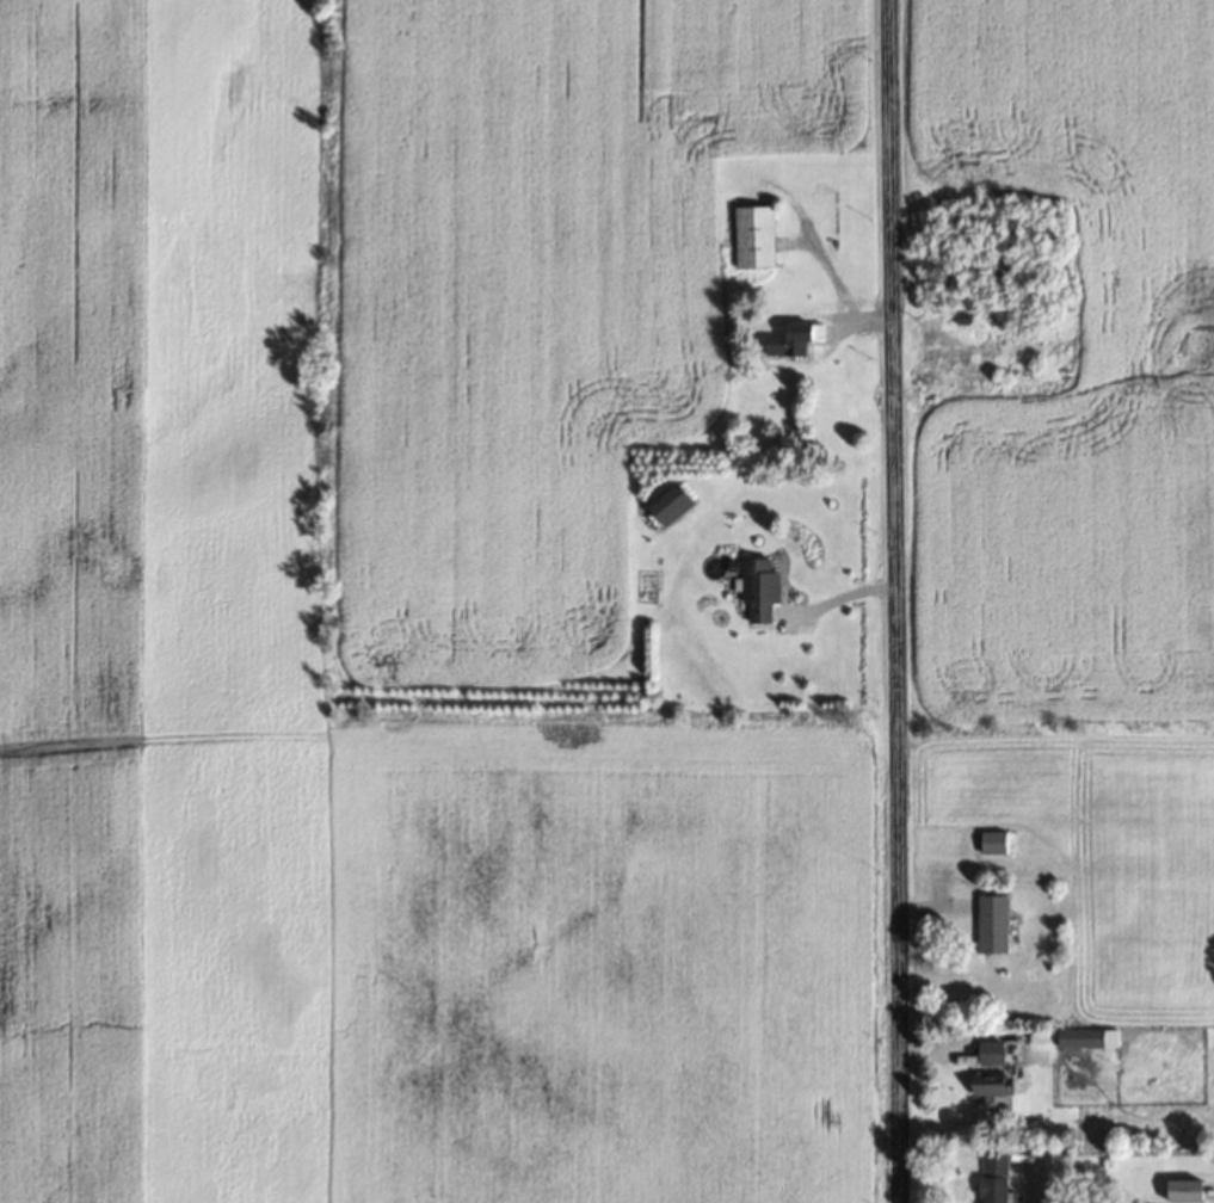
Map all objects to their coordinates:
building: (758, 235)
building: (796, 339)
building: (676, 504)
building: (762, 587)
road: (894, 600)
building: (996, 840)
building: (998, 921)
building: (1091, 1036)
building: (997, 1050)
building: (998, 1081)
building: (998, 1173)
building: (1190, 1189)

